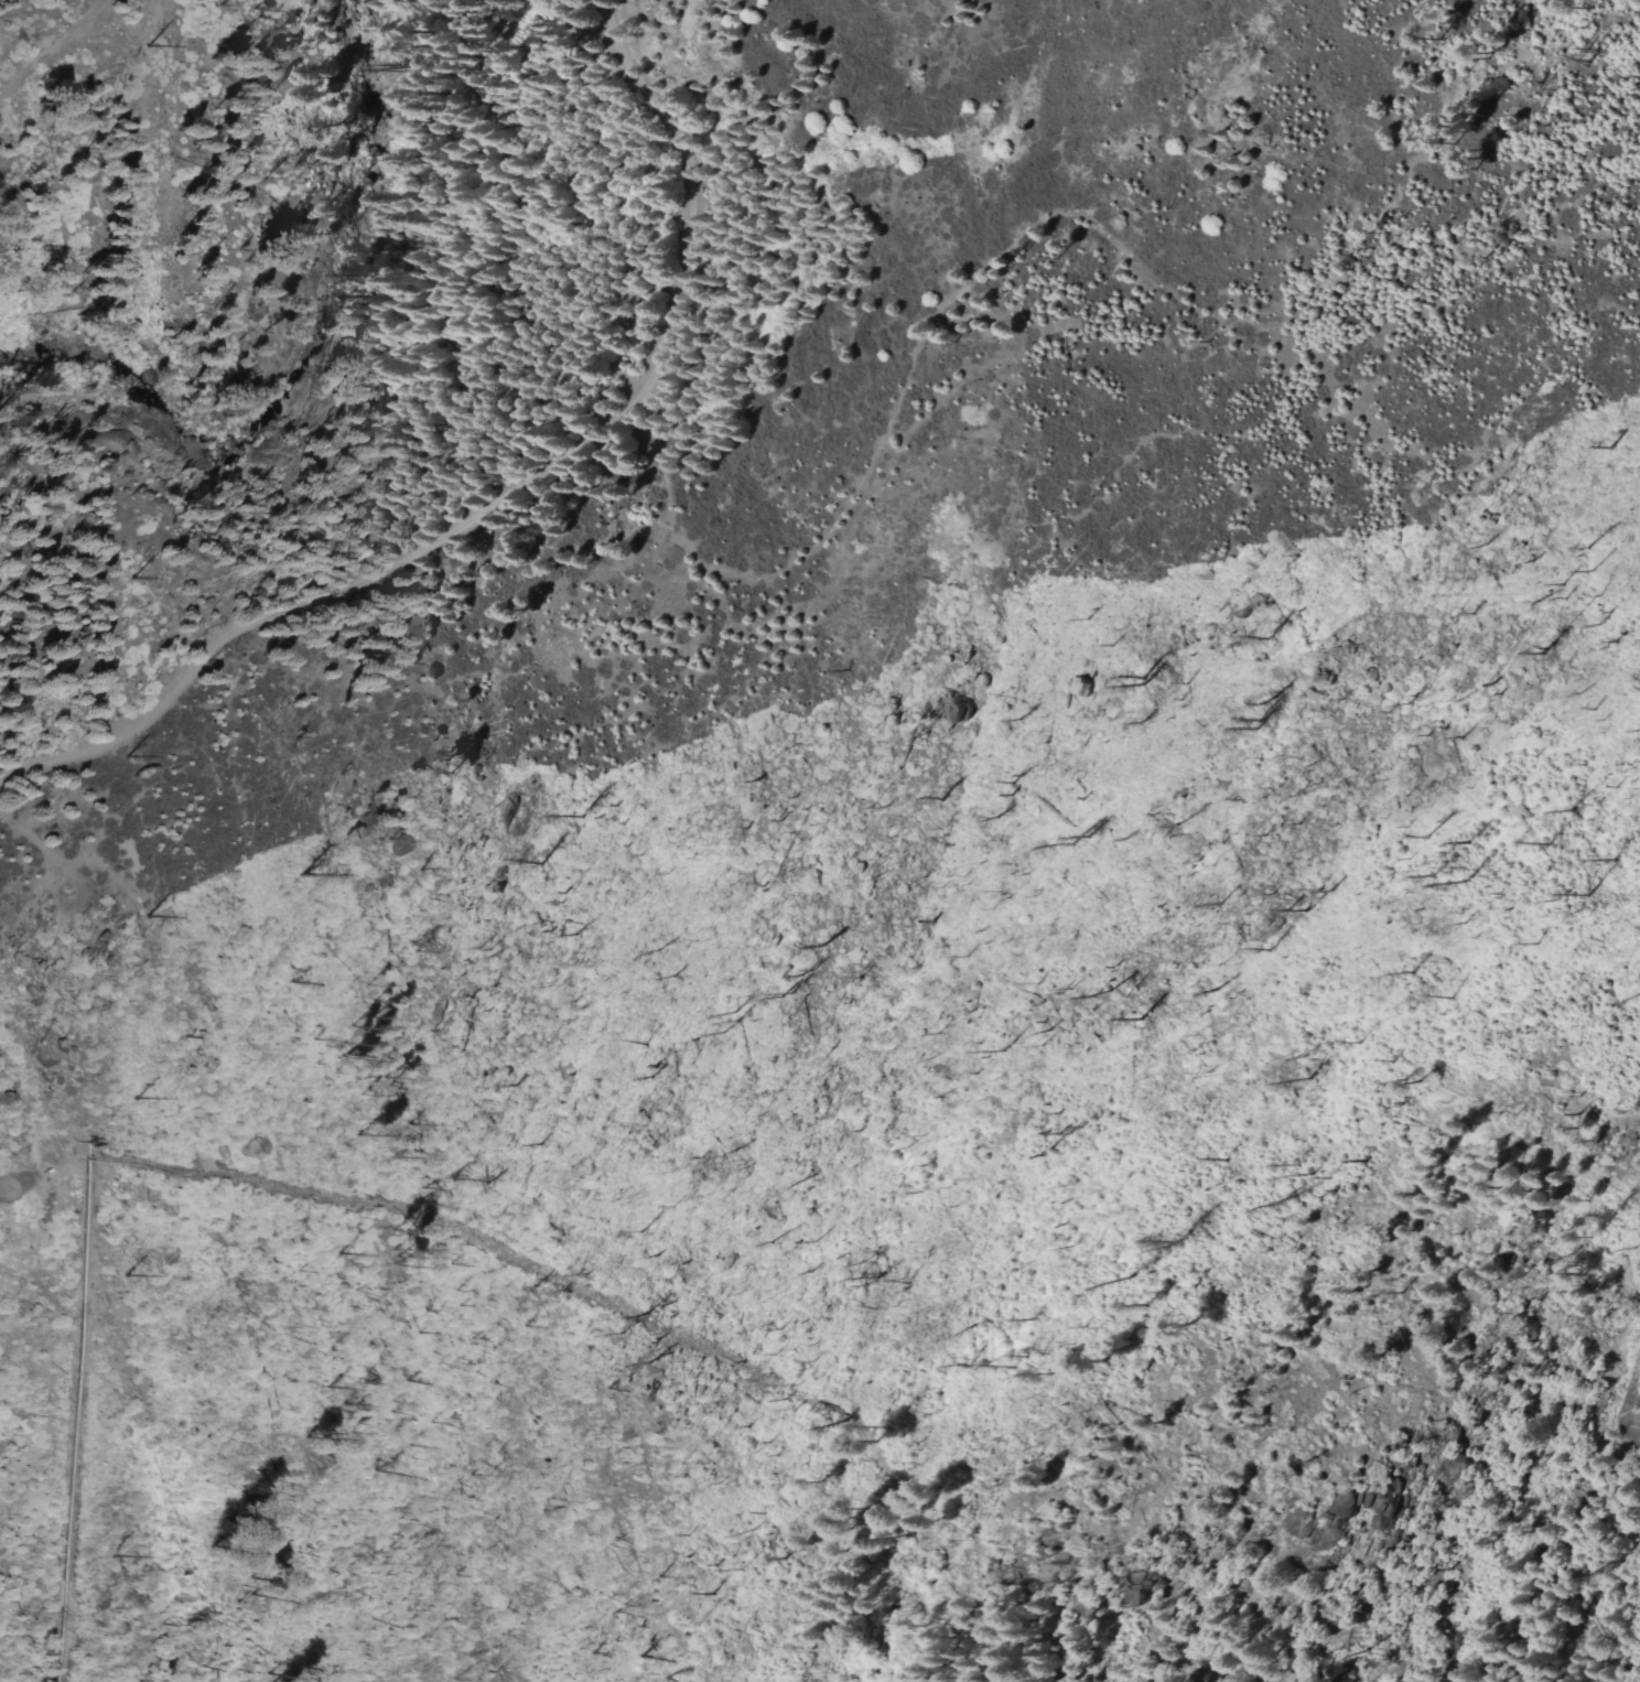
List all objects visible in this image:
road: (52, 45)
power tower: (144, 45)
river: (294, 330)
road: (501, 493)
power tower: (115, 578)
power tower: (115, 755)
power tower: (145, 913)
power tower: (130, 1098)
road: (2, 1187)
power tower: (117, 1270)
power tower: (101, 1560)

